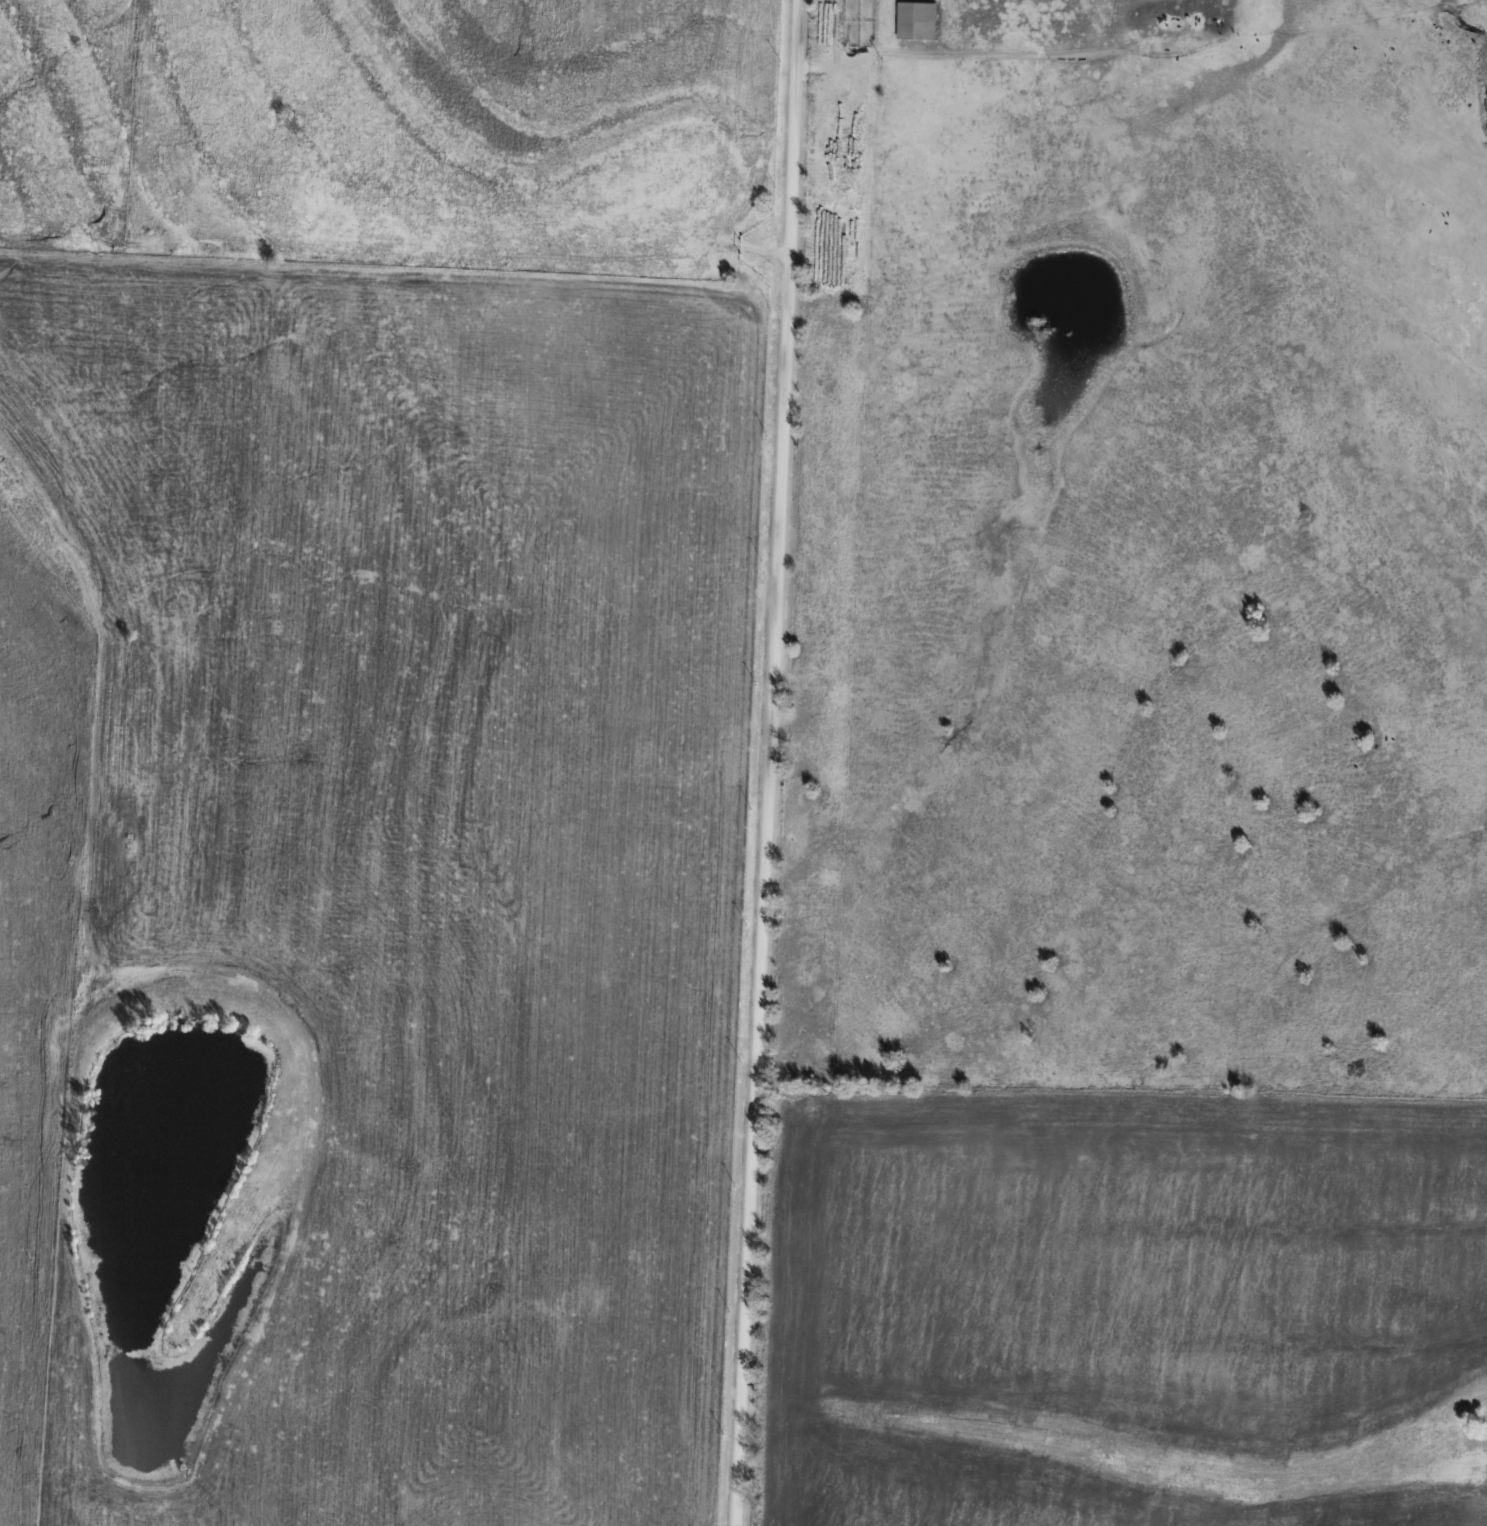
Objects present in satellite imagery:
building: (914, 21)
road: (766, 763)

